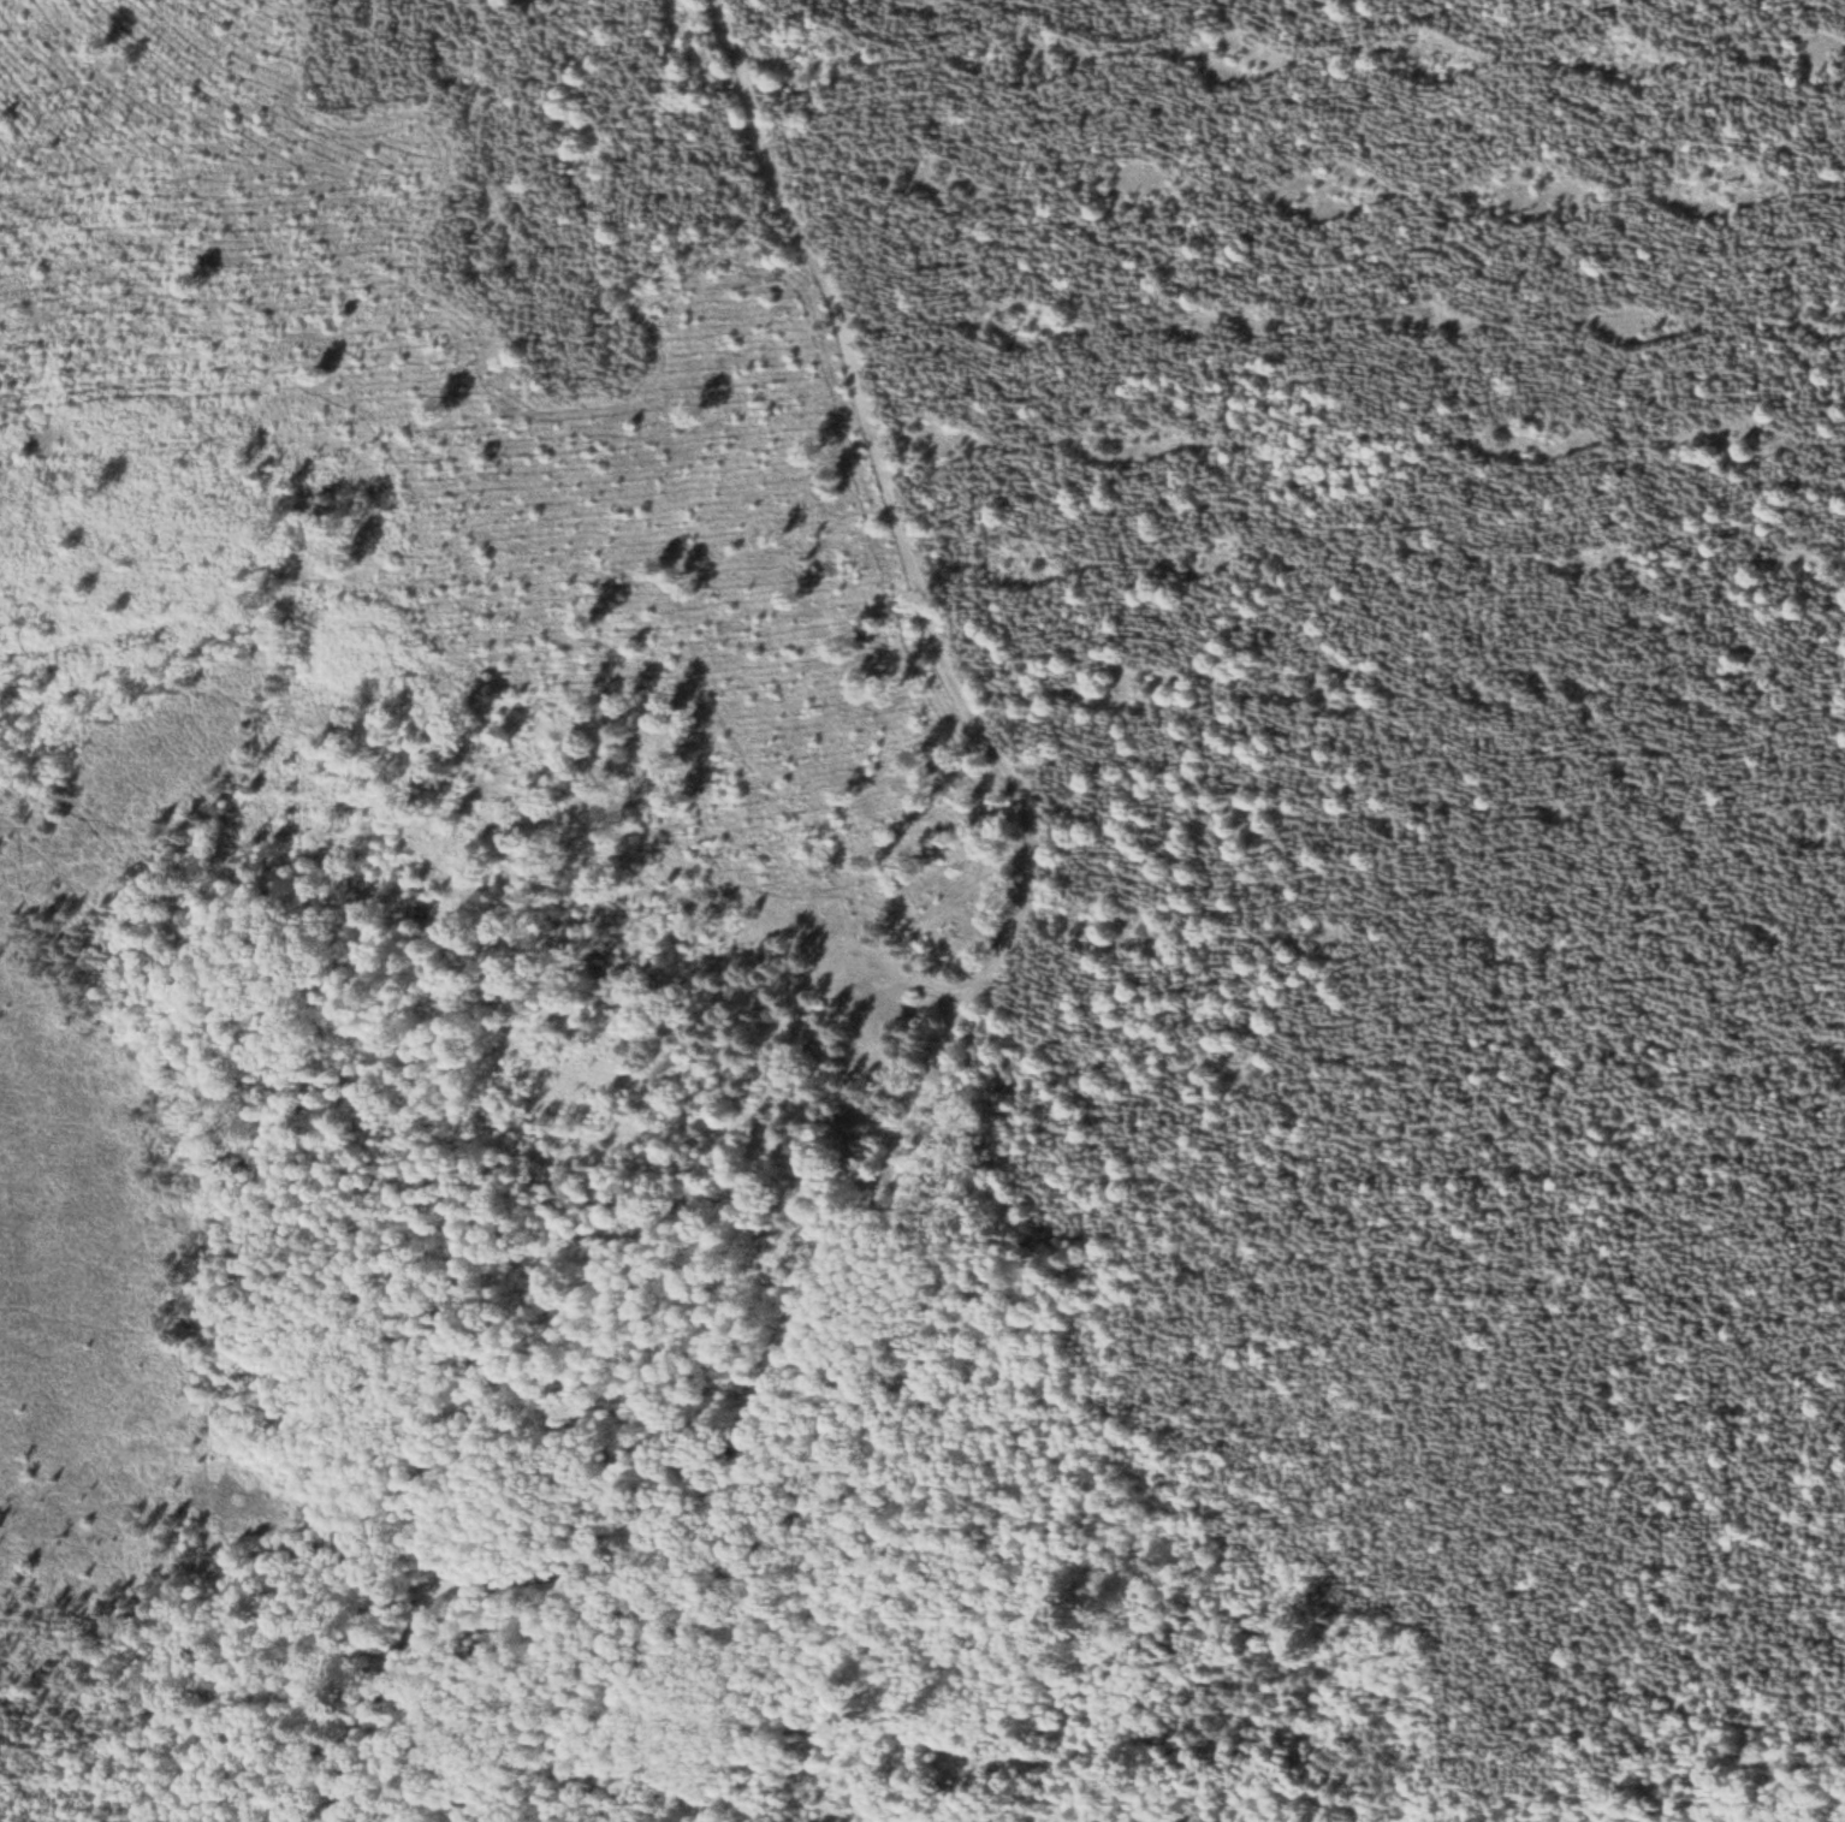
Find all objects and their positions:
road: (980, 1005)

